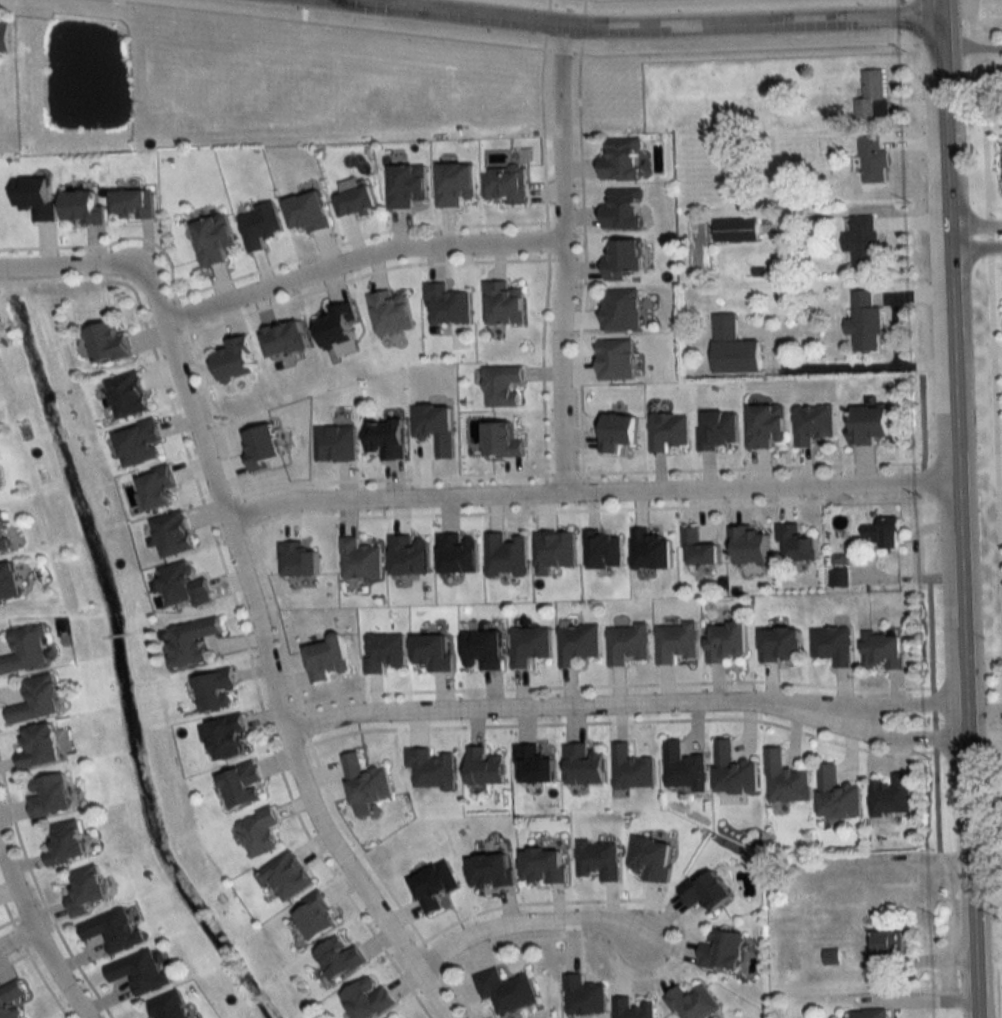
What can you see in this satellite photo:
road: (303, 2)
road: (547, 4)
road: (582, 6)
road: (302, 13)
road: (545, 21)
road: (644, 23)
road: (580, 24)
road: (338, 25)
building: (4, 37)
road: (971, 47)
road: (731, 49)
road: (560, 51)
building: (870, 93)
road: (542, 131)
building: (620, 158)
building: (872, 160)
building: (454, 183)
building: (505, 183)
building: (405, 185)
building: (354, 200)
building: (133, 204)
building: (621, 210)
building: (307, 211)
road: (974, 224)
building: (259, 225)
building: (734, 230)
road: (355, 237)
building: (213, 238)
road: (545, 239)
building: (861, 239)
road: (112, 241)
road: (974, 246)
road: (358, 258)
road: (564, 258)
building: (622, 258)
road: (582, 259)
road: (73, 268)
road: (362, 273)
building: (502, 303)
building: (446, 304)
building: (620, 309)
building: (389, 312)
road: (181, 314)
building: (864, 322)
building: (336, 325)
road: (994, 327)
building: (284, 338)
building: (106, 342)
building: (733, 347)
building: (235, 357)
building: (614, 358)
road: (541, 365)
building: (501, 385)
building: (127, 394)
road: (213, 413)
building: (812, 423)
building: (869, 423)
building: (765, 424)
building: (435, 426)
building: (718, 428)
building: (667, 431)
building: (385, 437)
building: (138, 443)
building: (335, 443)
road: (745, 466)
road: (562, 472)
road: (390, 477)
road: (588, 492)
road: (955, 509)
road: (531, 511)
road: (244, 512)
road: (249, 527)
building: (884, 532)
building: (172, 533)
building: (3, 538)
building: (748, 546)
building: (698, 549)
building: (605, 550)
building: (650, 550)
building: (553, 551)
building: (506, 555)
building: (359, 560)
building: (839, 578)
building: (8, 583)
building: (183, 585)
road: (235, 602)
road: (278, 622)
building: (189, 641)
building: (726, 642)
building: (675, 643)
building: (577, 644)
building: (627, 644)
building: (529, 645)
building: (779, 645)
building: (831, 645)
building: (483, 649)
building: (24, 650)
building: (384, 651)
building: (882, 651)
building: (326, 658)
road: (269, 659)
road: (610, 683)
building: (213, 690)
building: (35, 700)
road: (908, 704)
road: (570, 707)
road: (617, 721)
road: (304, 725)
building: (227, 737)
road: (906, 738)
building: (38, 747)
building: (533, 765)
building: (583, 765)
building: (483, 767)
building: (683, 767)
building: (431, 768)
building: (631, 768)
building: (732, 770)
building: (784, 779)
building: (365, 781)
building: (240, 784)
building: (890, 794)
building: (47, 795)
building: (836, 795)
building: (258, 832)
building: (64, 843)
road: (358, 846)
building: (651, 858)
building: (598, 859)
building: (543, 866)
building: (490, 871)
building: (285, 876)
building: (433, 886)
building: (84, 890)
building: (707, 891)
road: (41, 900)
road: (6, 909)
building: (314, 917)
road: (7, 919)
road: (510, 922)
building: (112, 930)
road: (34, 934)
road: (17, 935)
road: (680, 935)
road: (663, 937)
road: (16, 939)
building: (883, 949)
building: (721, 951)
road: (13, 958)
building: (338, 959)
road: (428, 959)
building: (138, 972)
road: (44, 981)
building: (505, 990)
road: (456, 992)
building: (583, 996)
building: (10, 999)
building: (367, 999)
building: (691, 1003)
building: (167, 1006)
building: (632, 1009)
building: (866, 1014)

